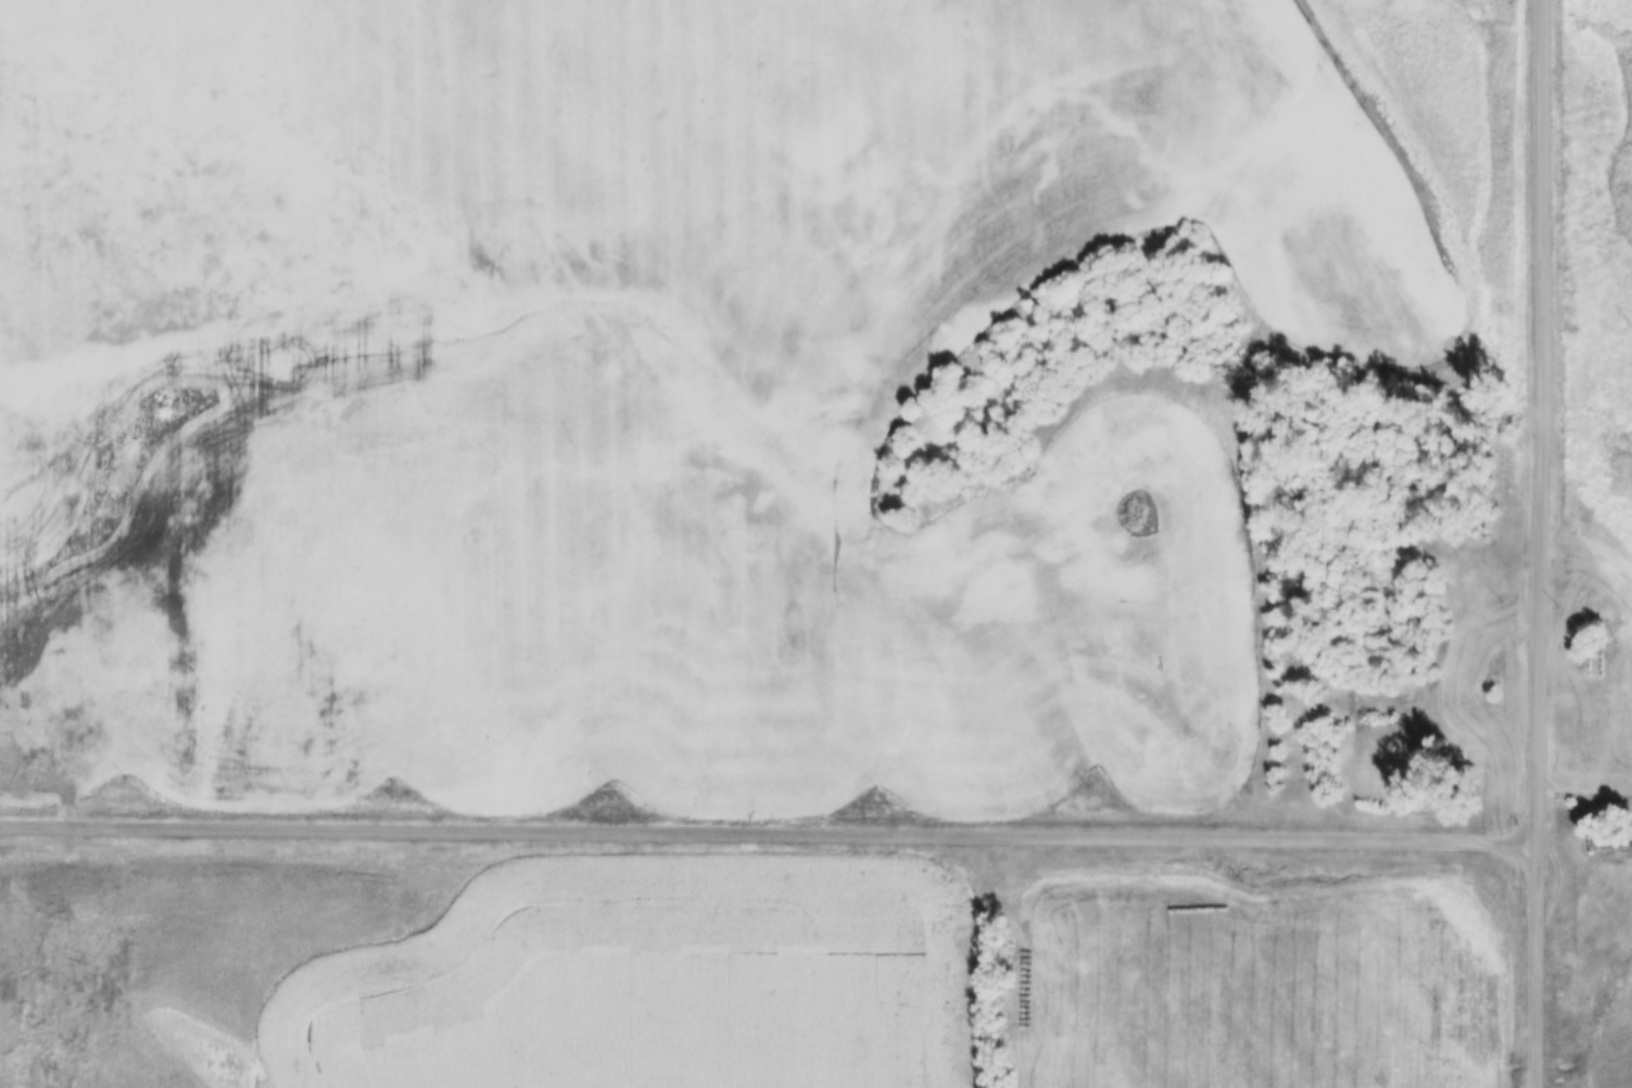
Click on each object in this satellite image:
road: (1531, 544)
road: (766, 831)

